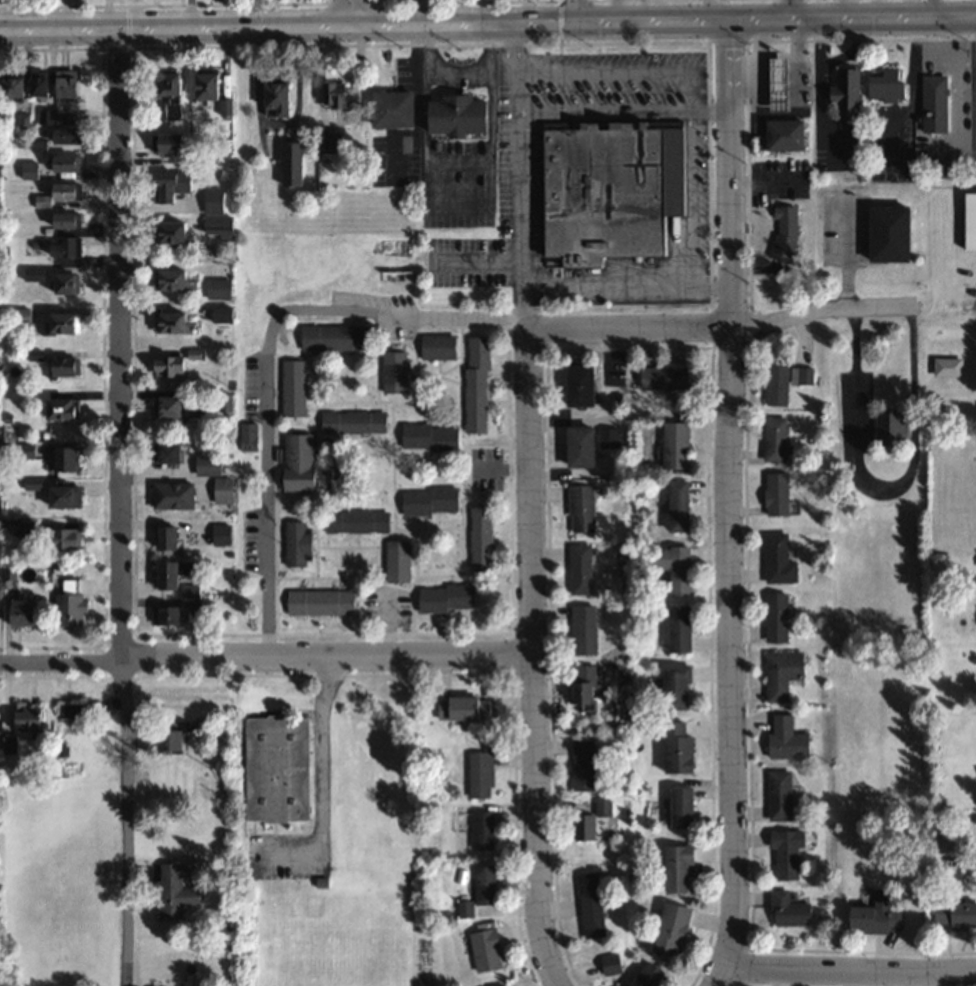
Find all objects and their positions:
road: (578, 11)
road: (345, 12)
road: (487, 22)
building: (71, 83)
building: (773, 83)
building: (212, 85)
building: (883, 85)
building: (29, 86)
building: (174, 92)
building: (331, 93)
building: (931, 93)
building: (843, 95)
building: (270, 96)
building: (388, 107)
building: (451, 113)
building: (781, 133)
building: (72, 136)
building: (174, 143)
building: (289, 161)
building: (70, 163)
building: (31, 170)
building: (173, 185)
building: (605, 187)
building: (70, 191)
building: (218, 213)
building: (968, 220)
building: (70, 221)
building: (173, 231)
building: (782, 231)
building: (884, 232)
building: (67, 248)
building: (177, 280)
building: (70, 284)
building: (218, 287)
building: (219, 313)
building: (167, 320)
building: (66, 323)
road: (715, 328)
building: (331, 336)
road: (120, 343)
building: (436, 346)
road: (268, 349)
building: (164, 364)
building: (60, 365)
building: (945, 366)
building: (392, 371)
building: (800, 375)
building: (661, 376)
building: (475, 383)
building: (574, 384)
building: (775, 384)
building: (291, 387)
building: (162, 404)
building: (55, 407)
building: (351, 421)
building: (888, 427)
building: (427, 436)
building: (607, 436)
building: (245, 437)
building: (773, 438)
building: (673, 444)
building: (575, 445)
building: (162, 450)
building: (59, 457)
building: (295, 461)
building: (204, 463)
building: (216, 489)
building: (775, 493)
building: (168, 494)
building: (59, 495)
building: (428, 500)
road: (728, 504)
building: (675, 505)
building: (579, 507)
building: (354, 520)
building: (160, 536)
building: (478, 536)
building: (59, 539)
building: (293, 542)
building: (777, 559)
building: (394, 560)
building: (671, 565)
building: (578, 568)
building: (162, 574)
building: (442, 597)
building: (317, 601)
building: (65, 609)
building: (20, 613)
building: (162, 615)
building: (775, 617)
building: (677, 627)
building: (581, 628)
road: (266, 656)
road: (534, 672)
building: (780, 673)
building: (673, 686)
building: (580, 687)
building: (460, 707)
building: (75, 708)
building: (20, 717)
building: (784, 739)
building: (163, 740)
building: (674, 747)
building: (579, 764)
building: (273, 767)
building: (477, 773)
building: (777, 794)
building: (679, 807)
building: (588, 820)
road: (123, 822)
building: (479, 829)
building: (785, 852)
building: (675, 867)
building: (170, 891)
building: (588, 904)
building: (786, 909)
building: (954, 914)
building: (872, 915)
building: (668, 929)
building: (482, 949)
road: (849, 972)
building: (643, 975)
building: (499, 985)

